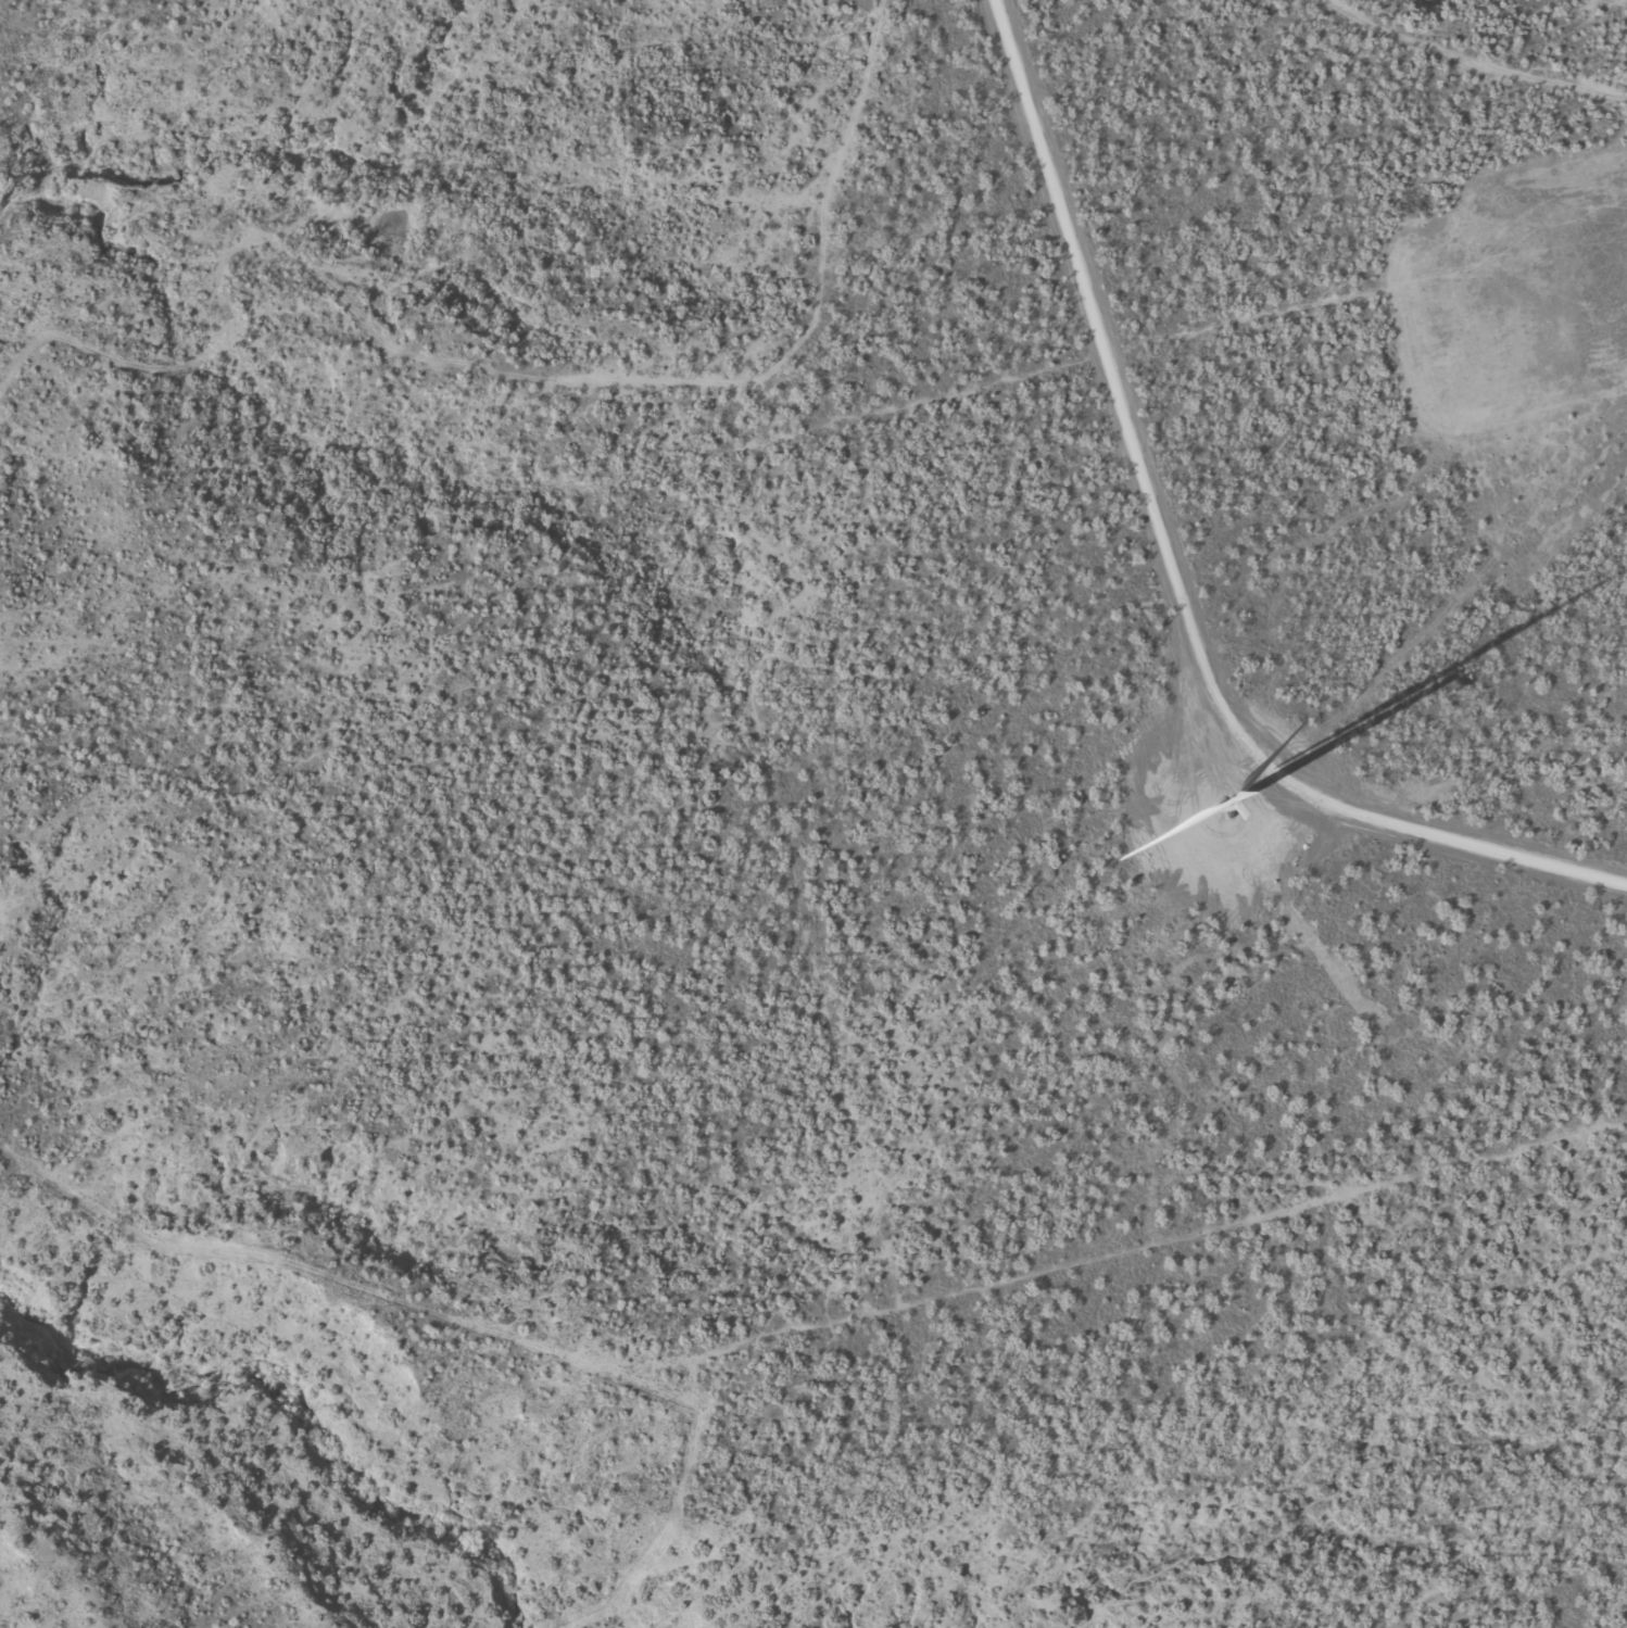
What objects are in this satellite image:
wind turbine: (1234, 790)

